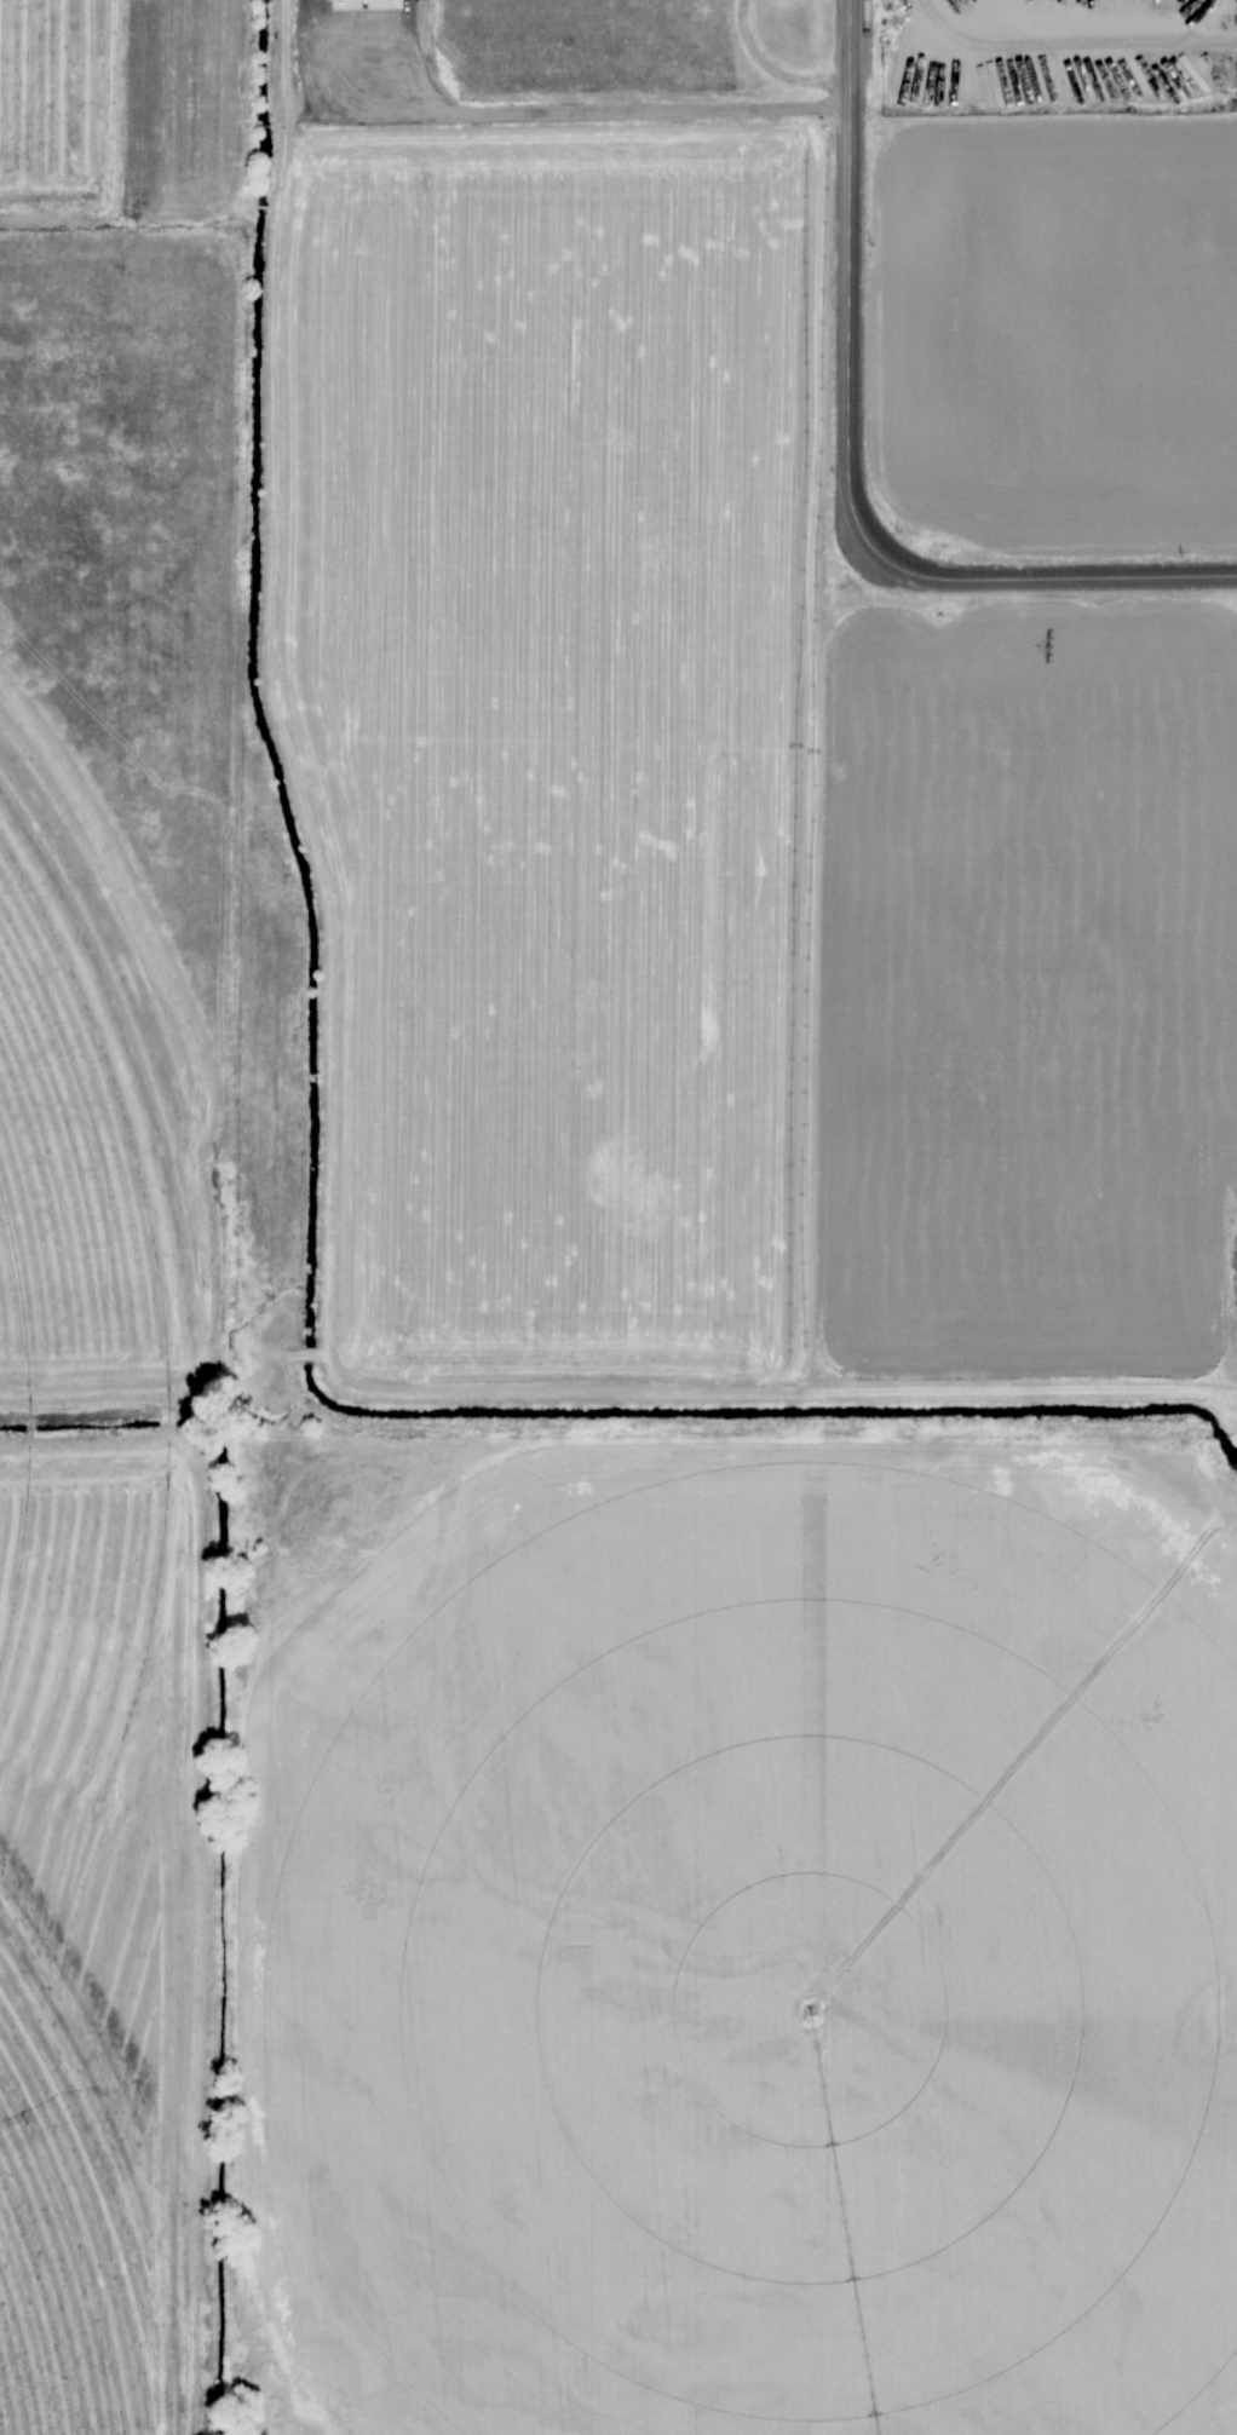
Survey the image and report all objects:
road: (846, 260)
road: (1034, 576)
crop: (614, 1256)

